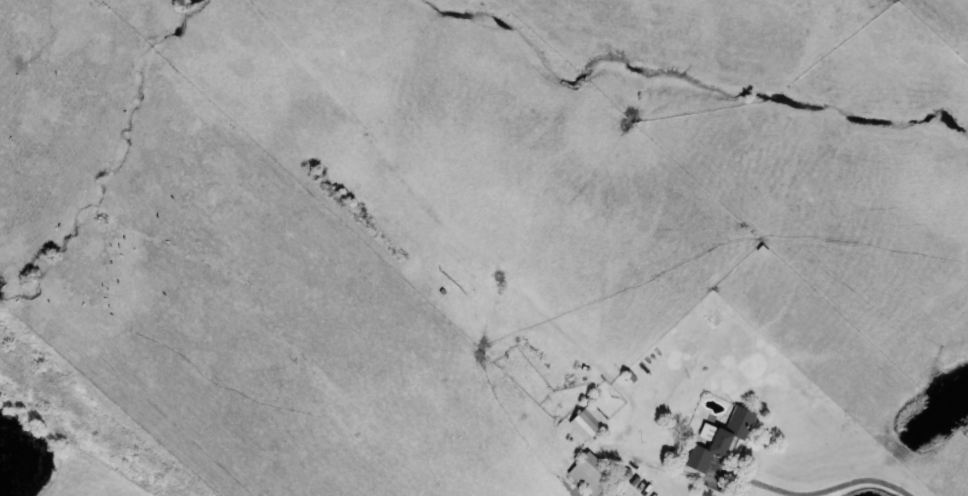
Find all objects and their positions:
building: (586, 421)
building: (717, 438)
building: (589, 474)
road: (820, 491)

